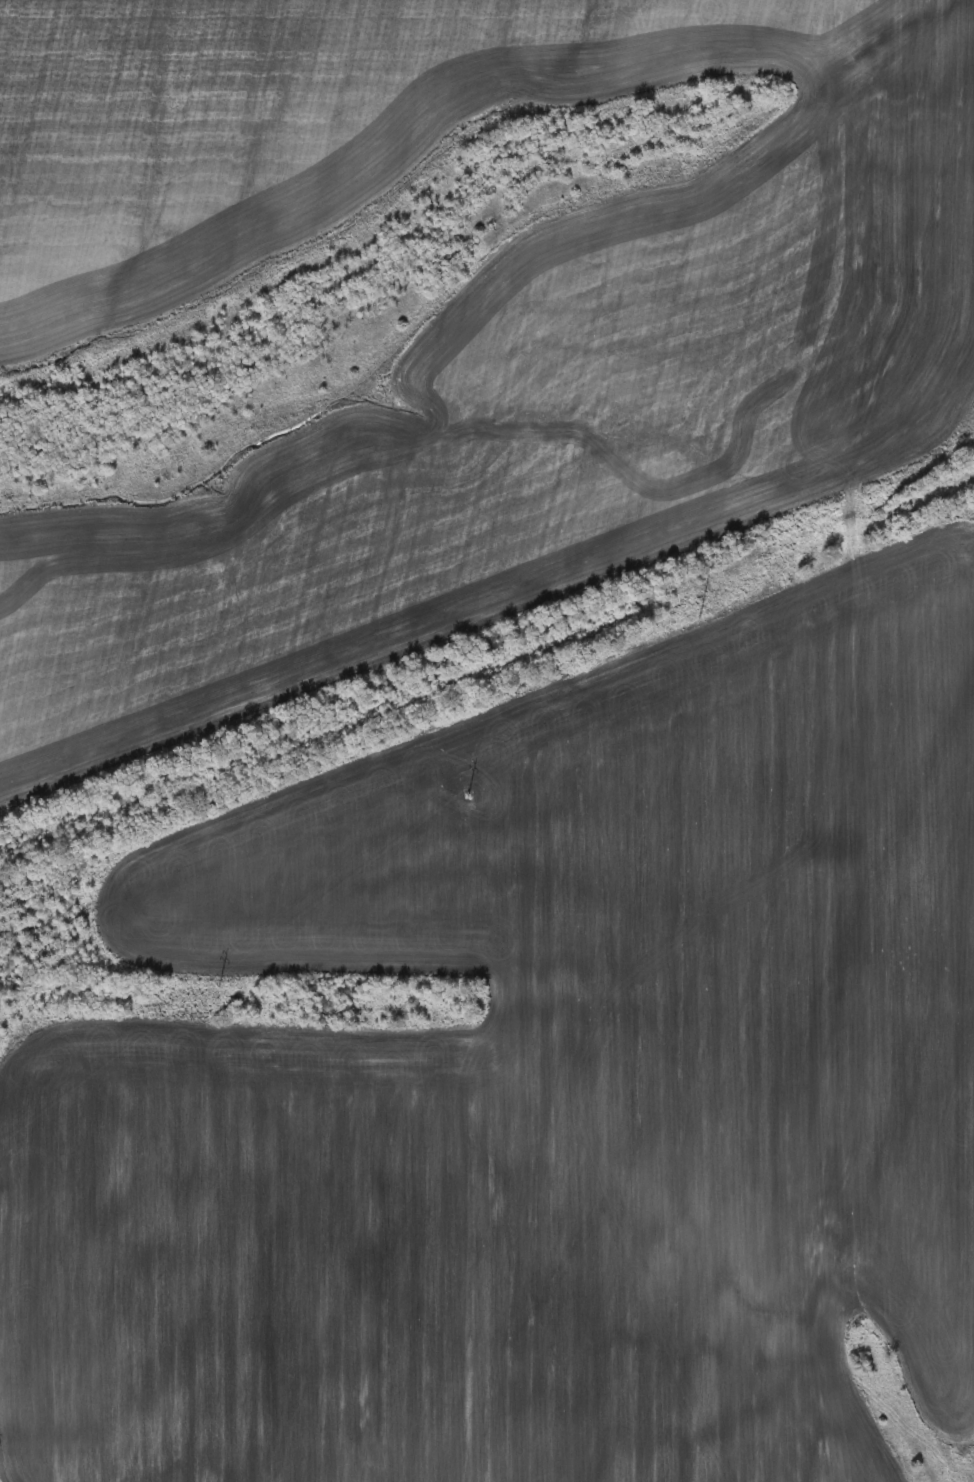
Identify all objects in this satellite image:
power tower: (683, 615)
power tower: (477, 793)
power tower: (207, 989)

